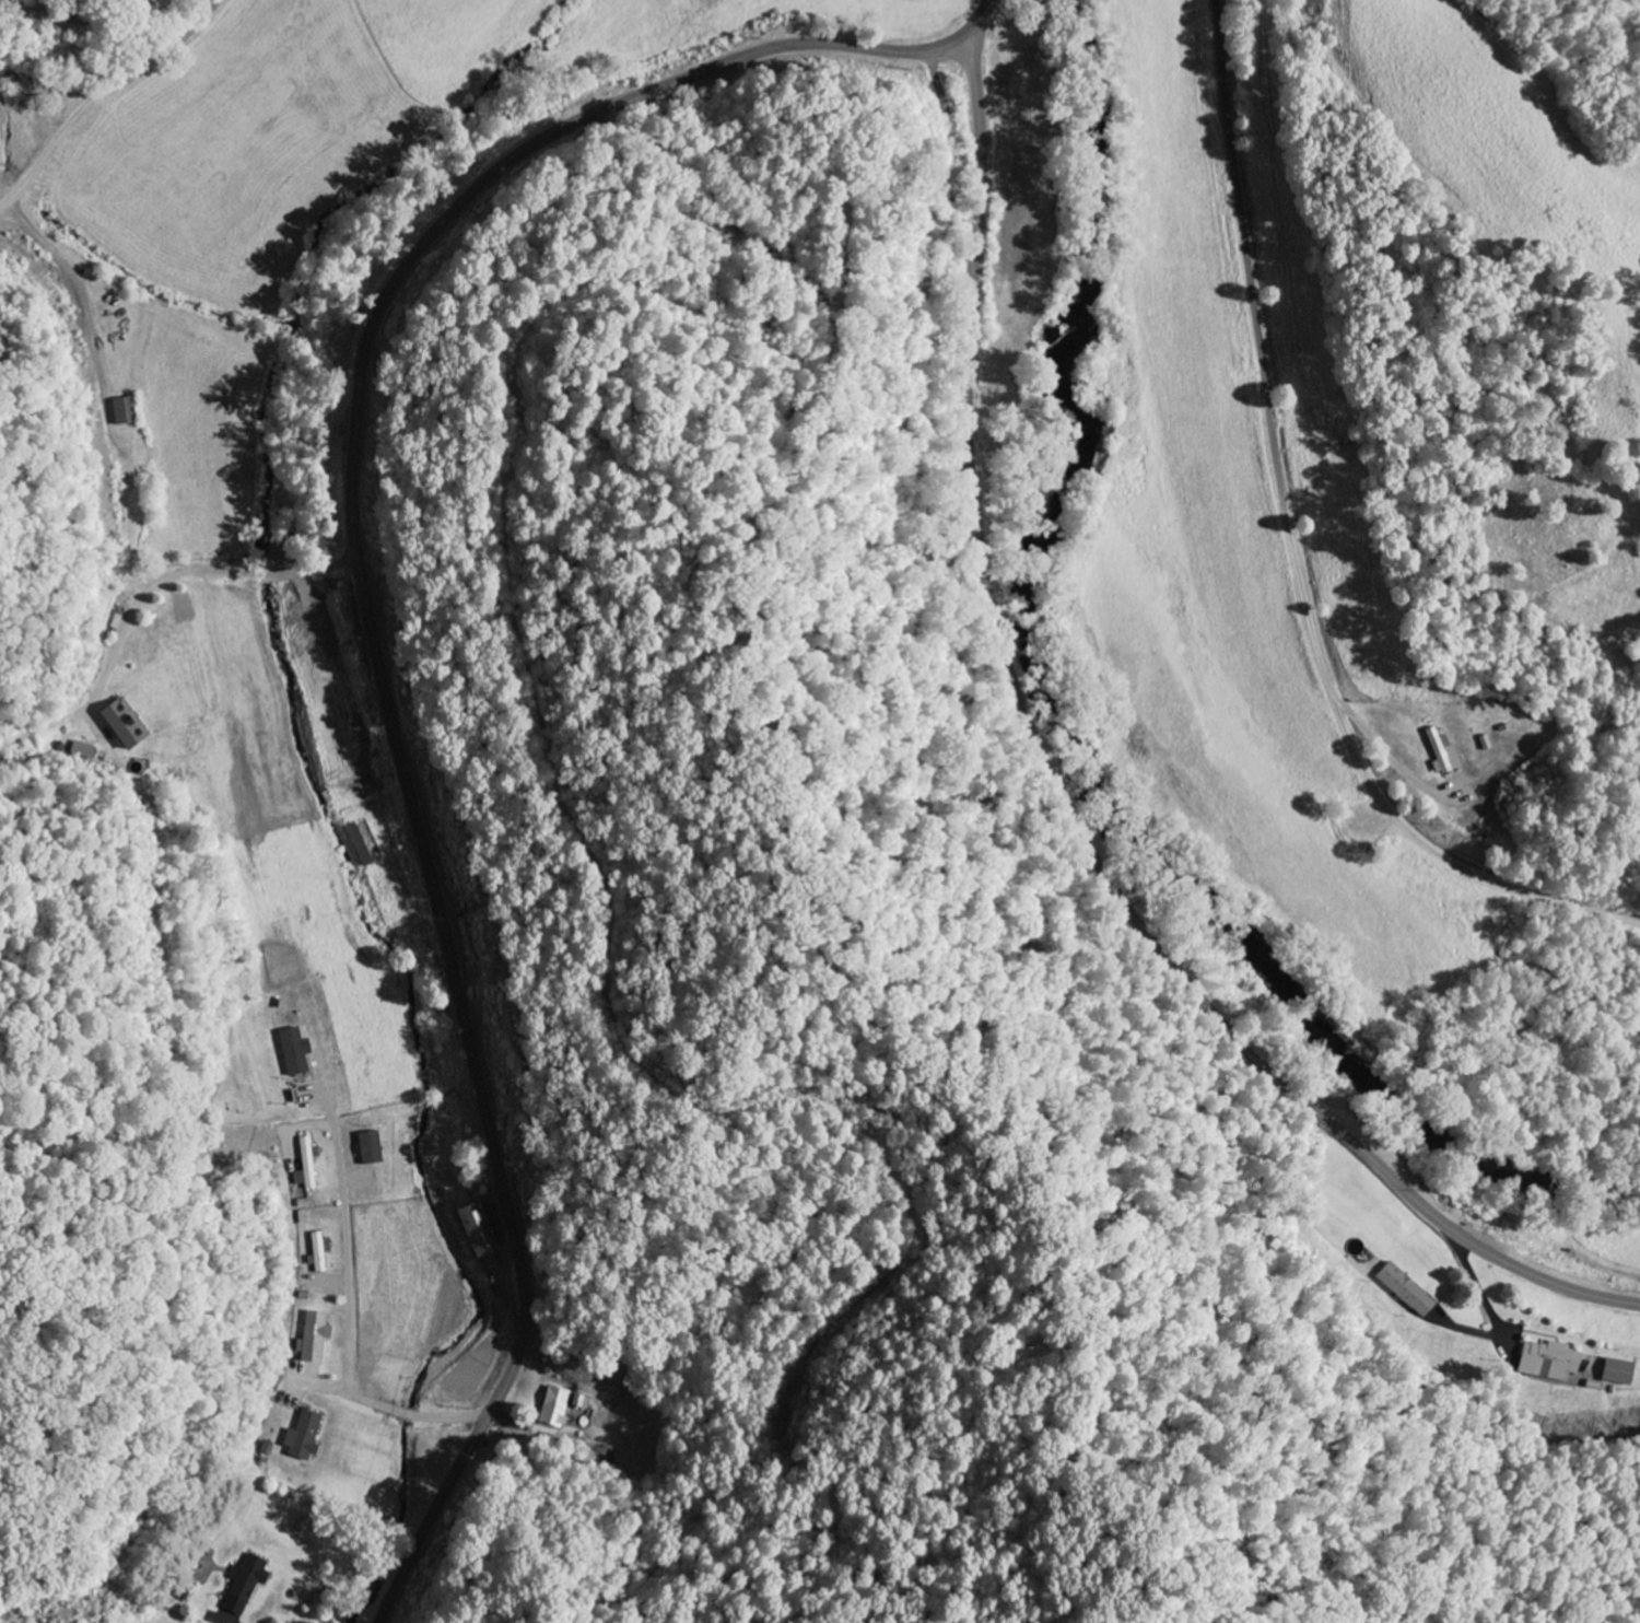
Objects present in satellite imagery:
road: (980, 12)
road: (126, 84)
building: (125, 412)
road: (210, 535)
road: (1298, 549)
road: (374, 641)
building: (121, 723)
river: (1103, 723)
building: (1441, 754)
road: (1070, 793)
building: (293, 1051)
building: (367, 1148)
building: (306, 1165)
building: (471, 1230)
building: (318, 1251)
building: (1404, 1289)
road: (352, 1308)
building: (314, 1338)
building: (1548, 1362)
building: (1617, 1373)
building: (559, 1408)
building: (302, 1437)
building: (243, 1584)

